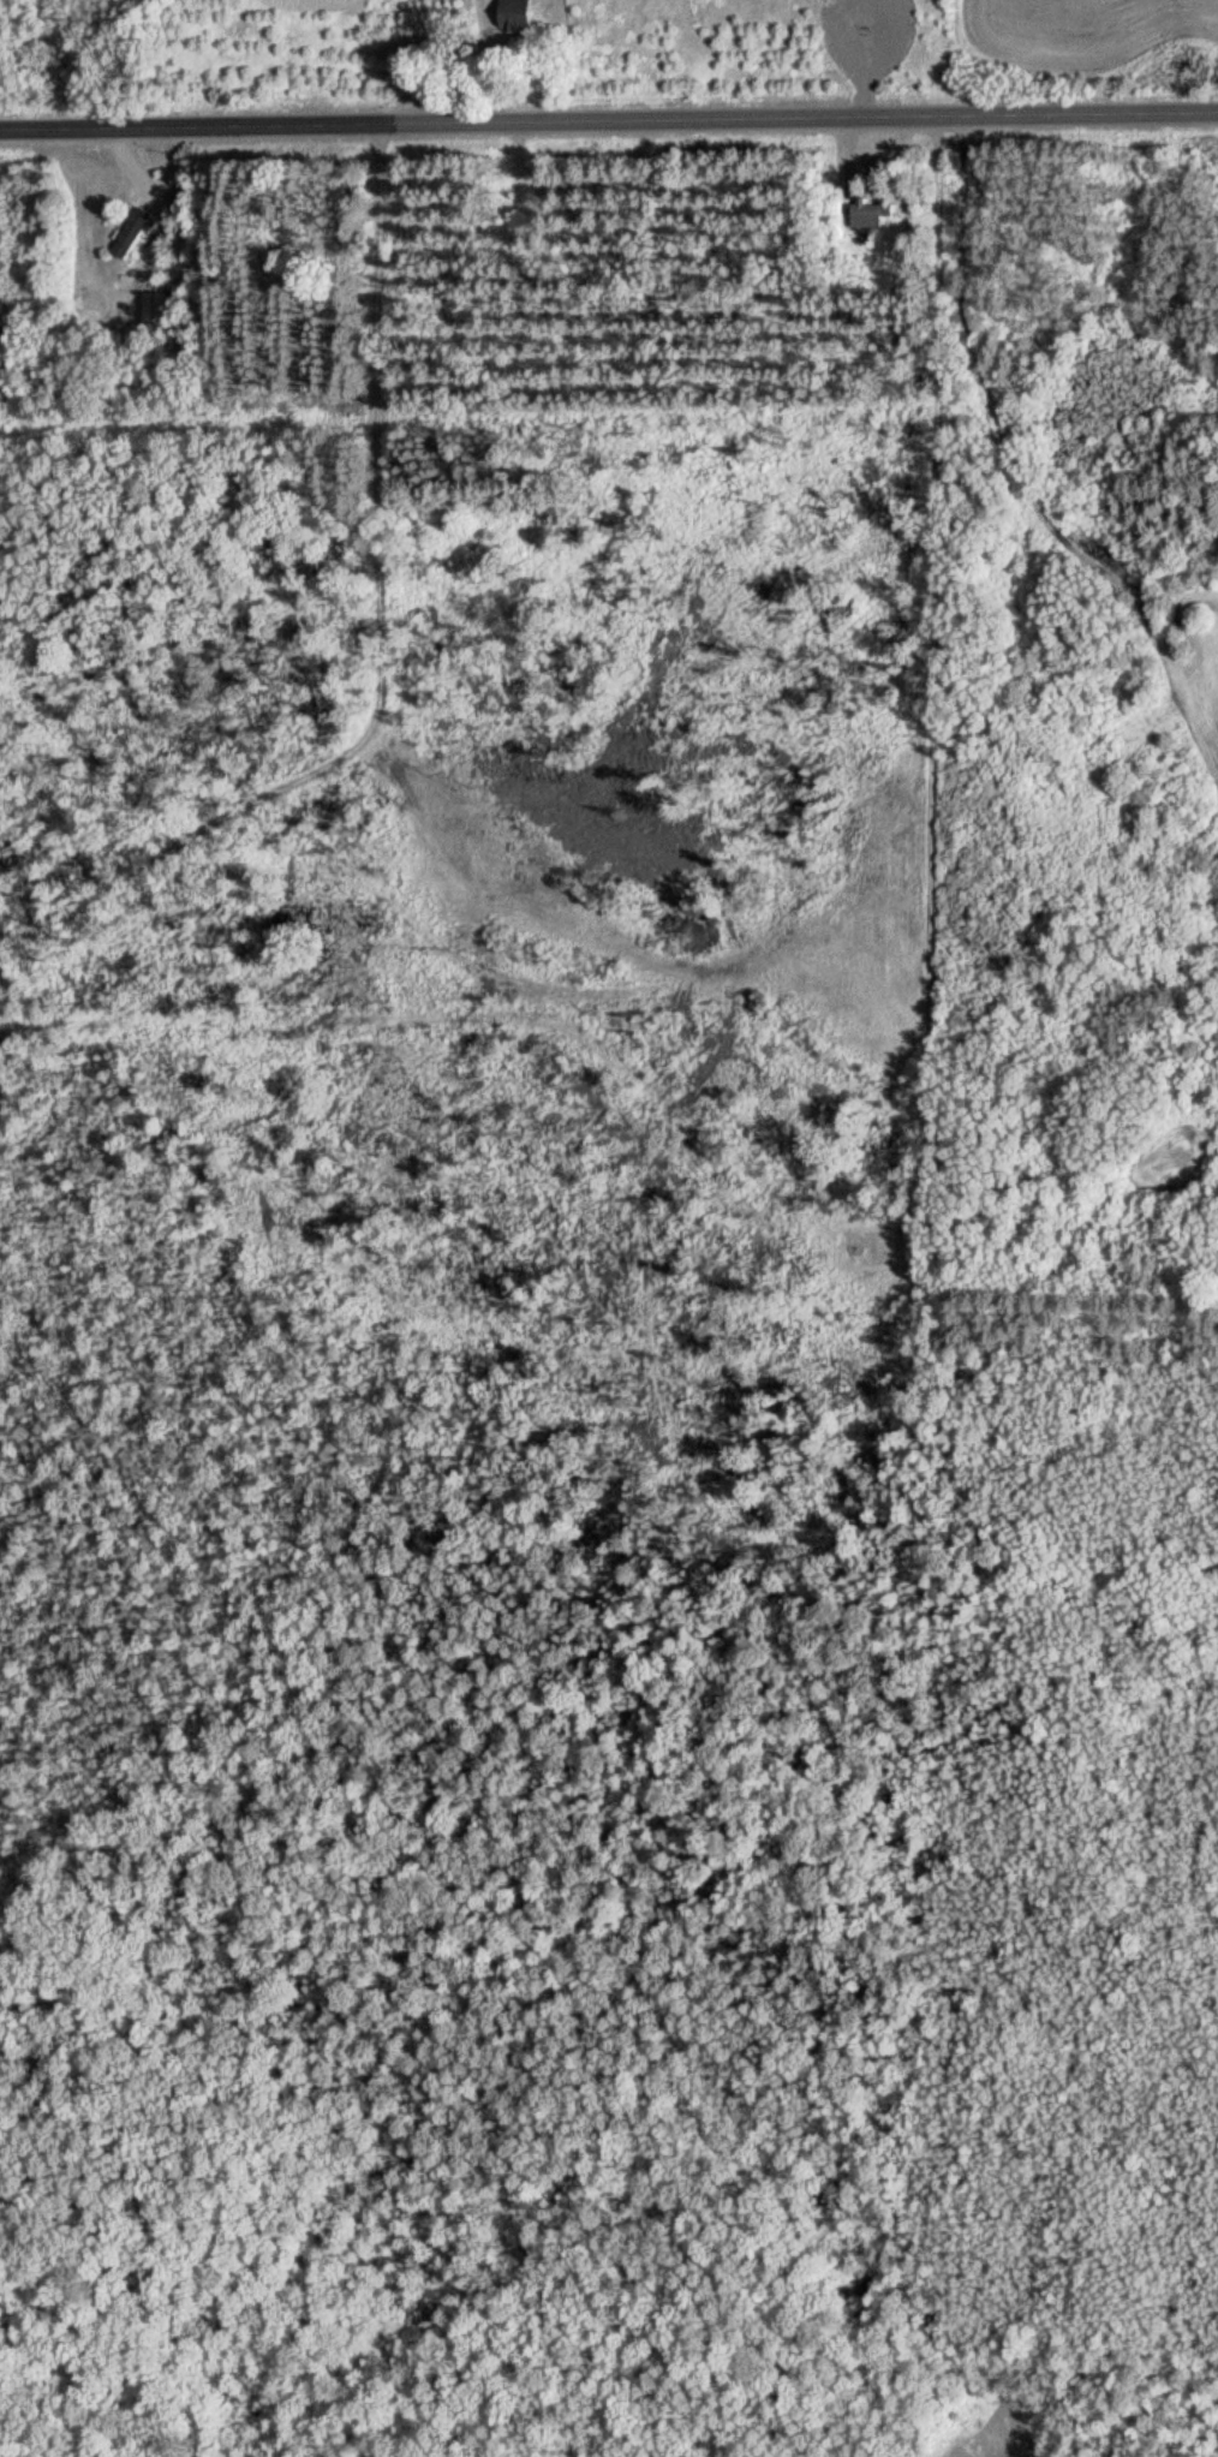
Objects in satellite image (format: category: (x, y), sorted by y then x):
building: (513, 12)
road: (483, 61)
road: (608, 121)
building: (878, 209)
building: (131, 233)
building: (160, 309)
road: (402, 668)

